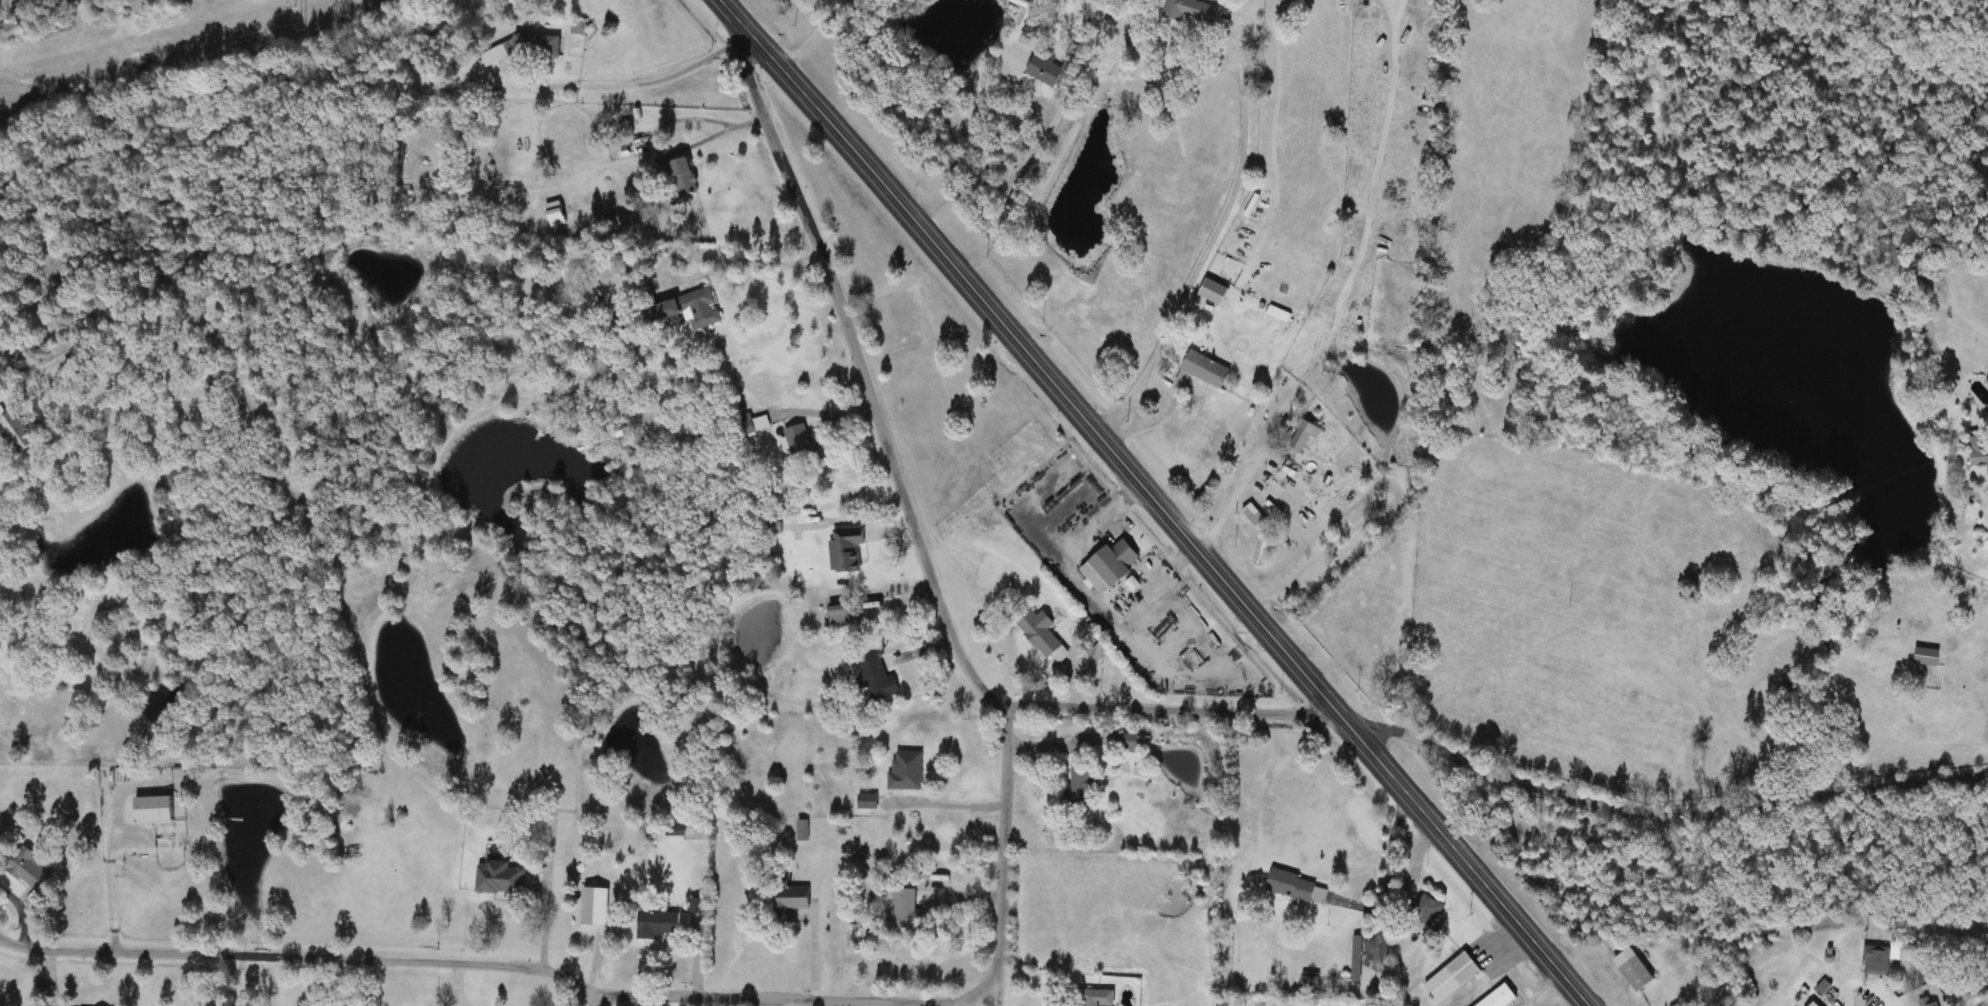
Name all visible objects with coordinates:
building: (1189, 11)
power tower: (297, 18)
road: (809, 34)
building: (526, 49)
building: (1044, 72)
road: (632, 79)
road: (661, 144)
building: (682, 177)
road: (998, 185)
road: (707, 259)
building: (1213, 293)
building: (686, 309)
road: (861, 369)
building: (1203, 371)
building: (744, 425)
building: (18, 429)
building: (1303, 436)
building: (802, 446)
building: (1978, 451)
road: (1233, 496)
road: (1155, 500)
building: (1253, 516)
building: (845, 549)
building: (1261, 551)
building: (1109, 565)
building: (839, 615)
building: (1344, 619)
building: (1039, 634)
building: (1380, 650)
building: (1926, 658)
building: (876, 681)
building: (1126, 743)
building: (905, 772)
road: (1496, 772)
building: (1080, 790)
road: (947, 799)
building: (866, 802)
building: (152, 811)
road: (1000, 854)
building: (30, 870)
building: (498, 879)
building: (1291, 887)
building: (788, 901)
building: (902, 909)
building: (1427, 910)
building: (656, 925)
building: (1985, 950)
building: (1356, 959)
building: (1877, 961)
road: (500, 967)
building: (1632, 970)
building: (1451, 978)
building: (1310, 979)
road: (583, 993)
building: (1093, 998)
building: (1498, 998)
road: (996, 1002)
building: (1926, 1003)
building: (1812, 1004)

